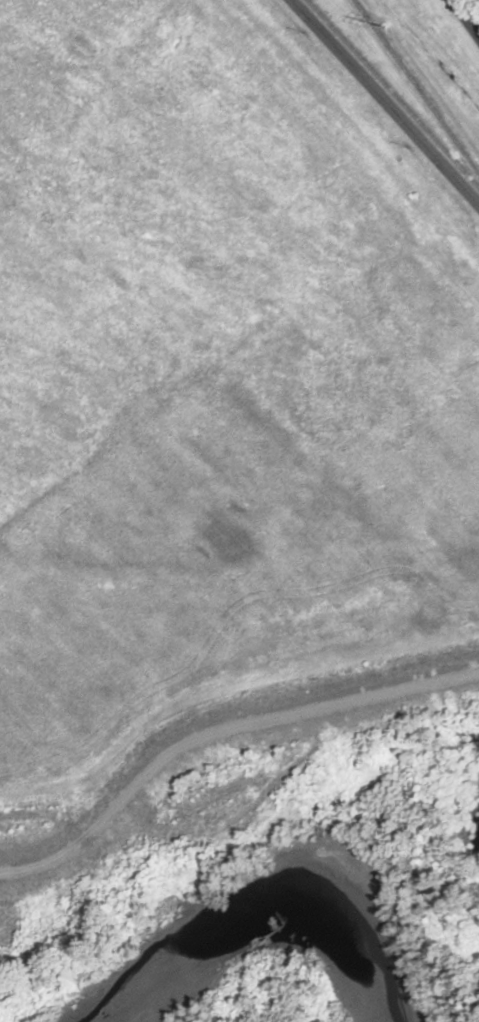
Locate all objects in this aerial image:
road: (467, 16)
power tower: (375, 18)
railway: (416, 86)
railway: (393, 92)
road: (386, 101)
road: (252, 804)
river: (280, 881)

